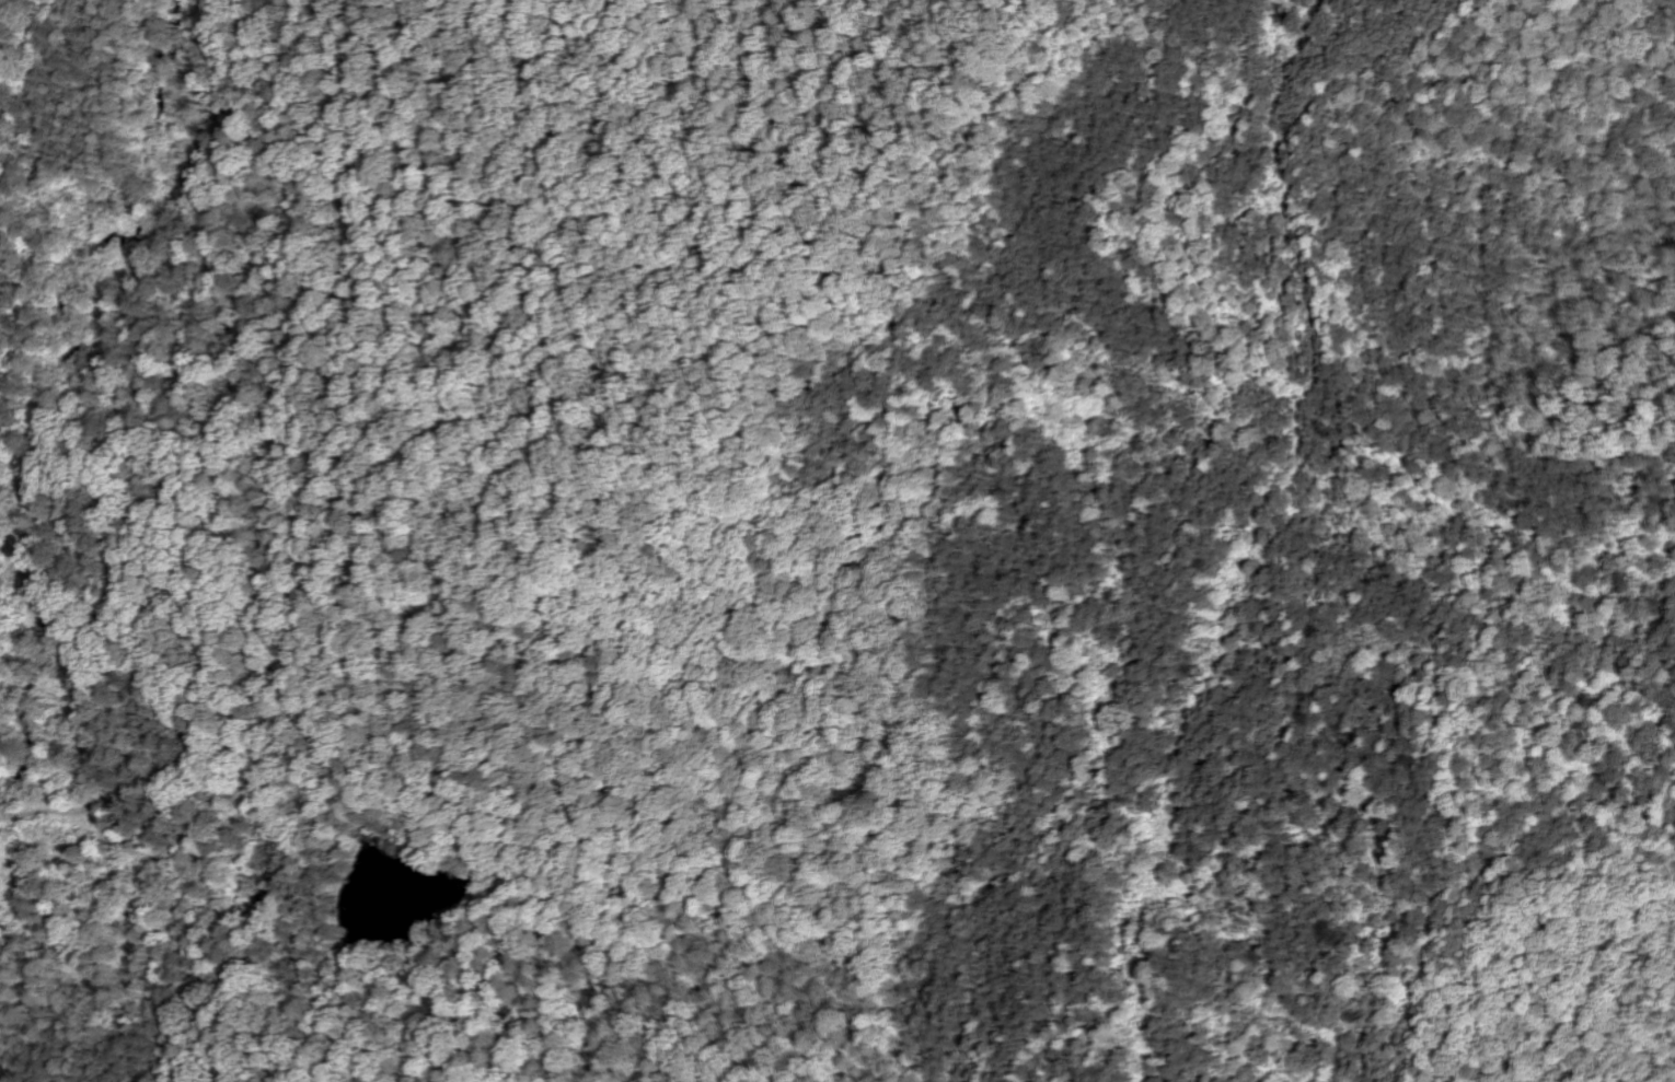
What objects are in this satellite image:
road: (296, 536)

